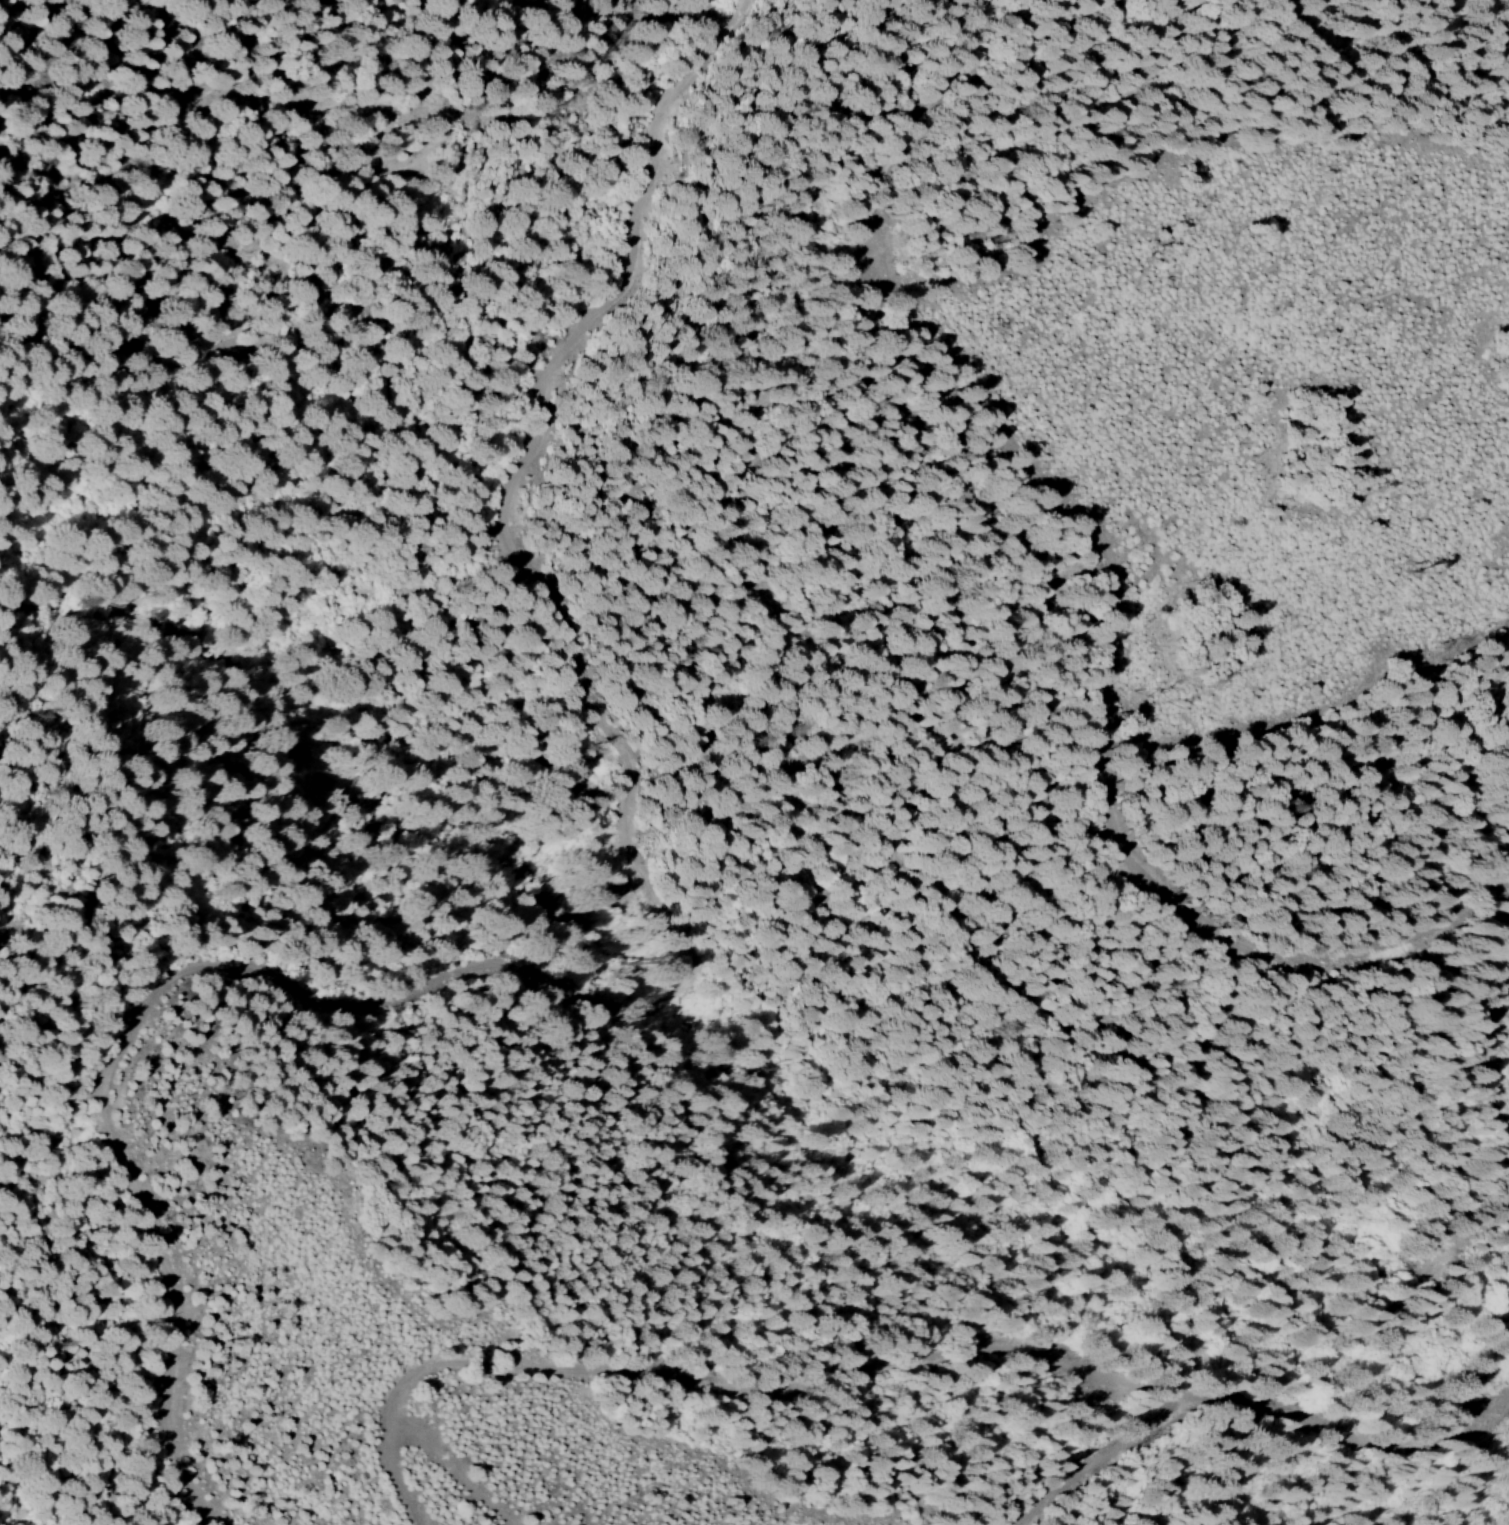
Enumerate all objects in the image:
road: (709, 977)
road: (896, 1368)

